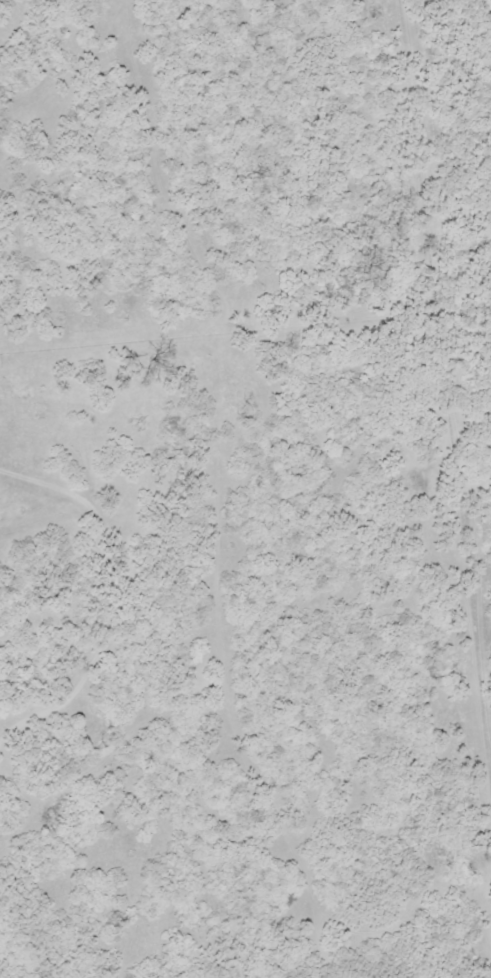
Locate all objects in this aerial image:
road: (485, 10)
road: (90, 551)

